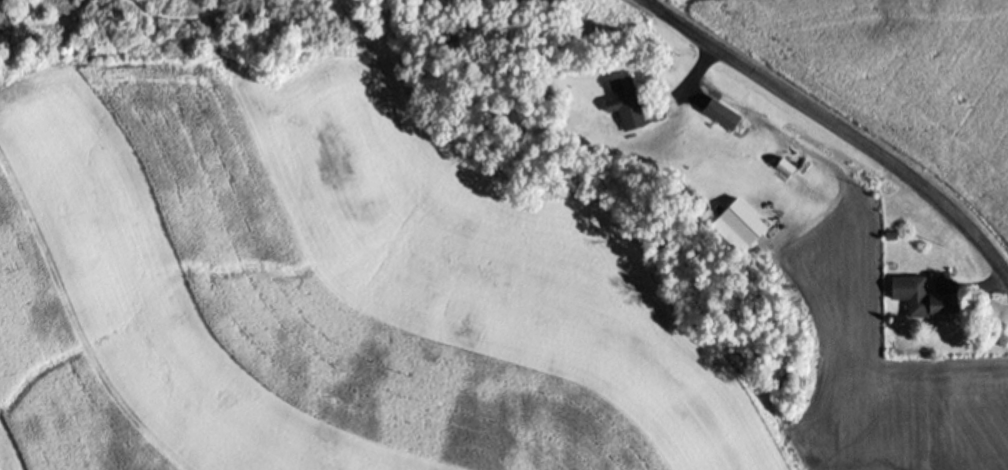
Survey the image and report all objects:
building: (539, 89)
building: (624, 100)
building: (720, 112)
road: (835, 126)
building: (783, 165)
building: (683, 188)
building: (694, 208)
building: (741, 218)
building: (891, 235)
building: (920, 293)

